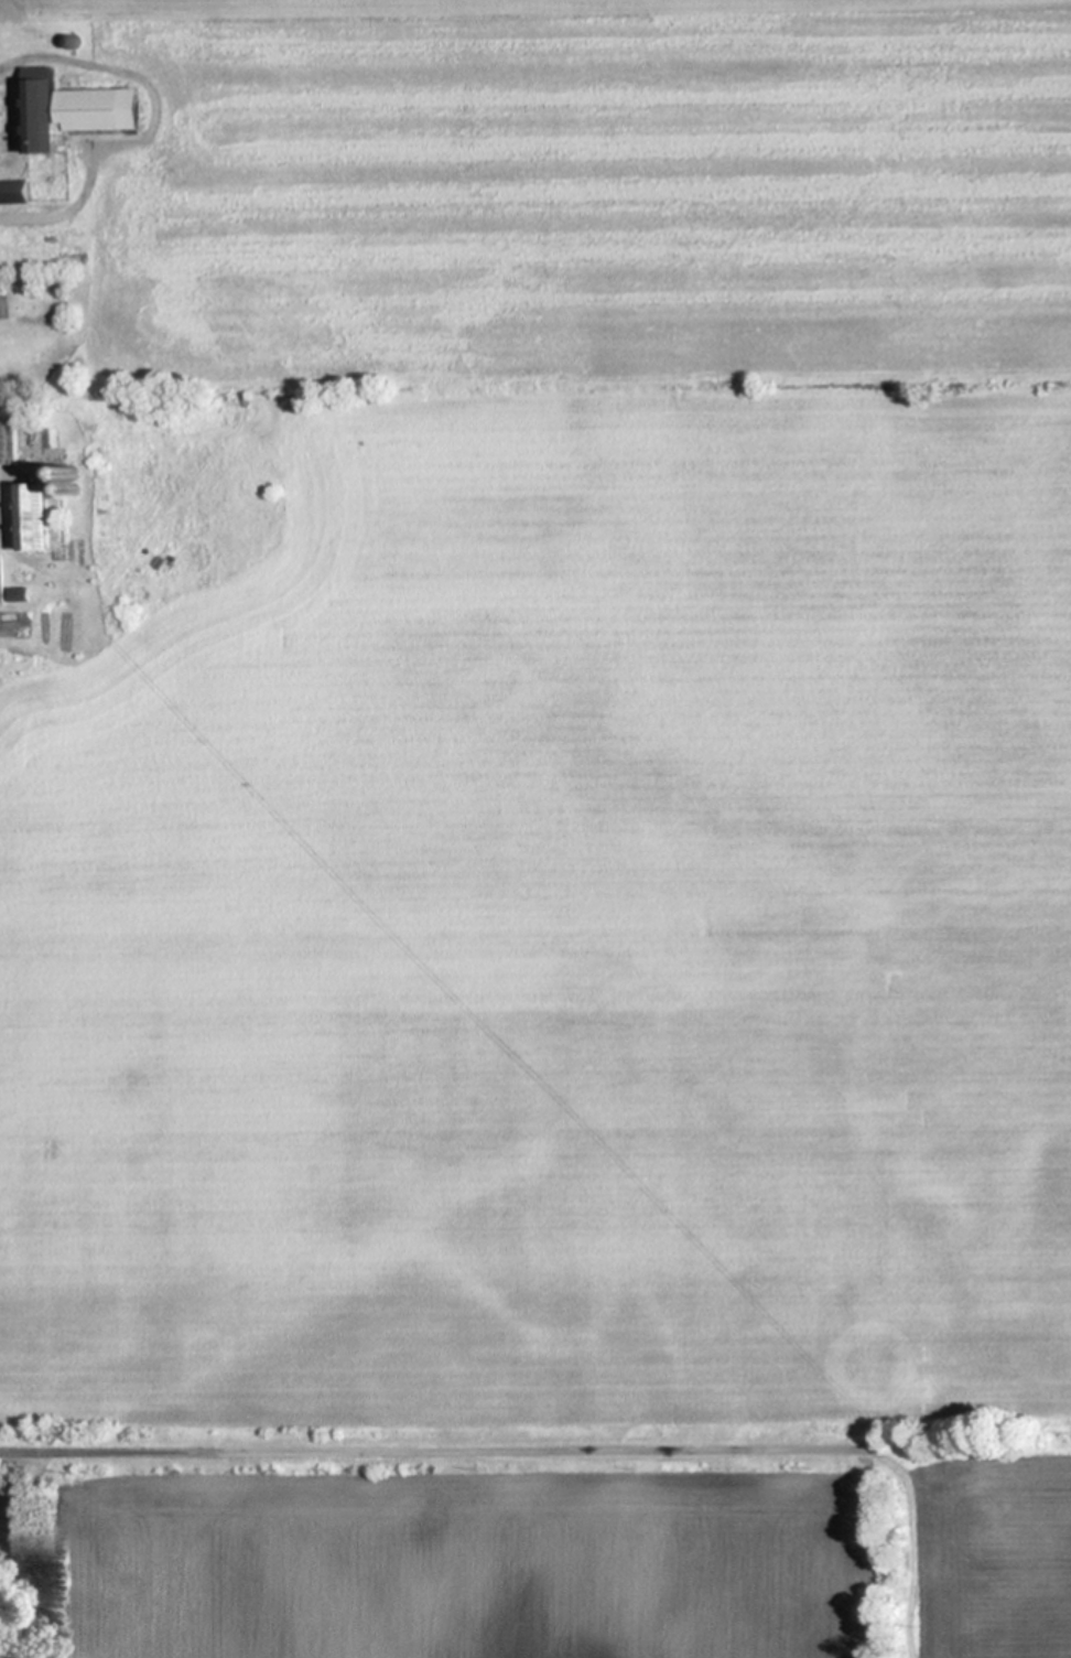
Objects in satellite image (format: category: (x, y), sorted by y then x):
building: (42, 105)
building: (101, 107)
building: (14, 191)
building: (9, 438)
building: (35, 515)
building: (2, 577)
building: (20, 593)
road: (416, 1450)

